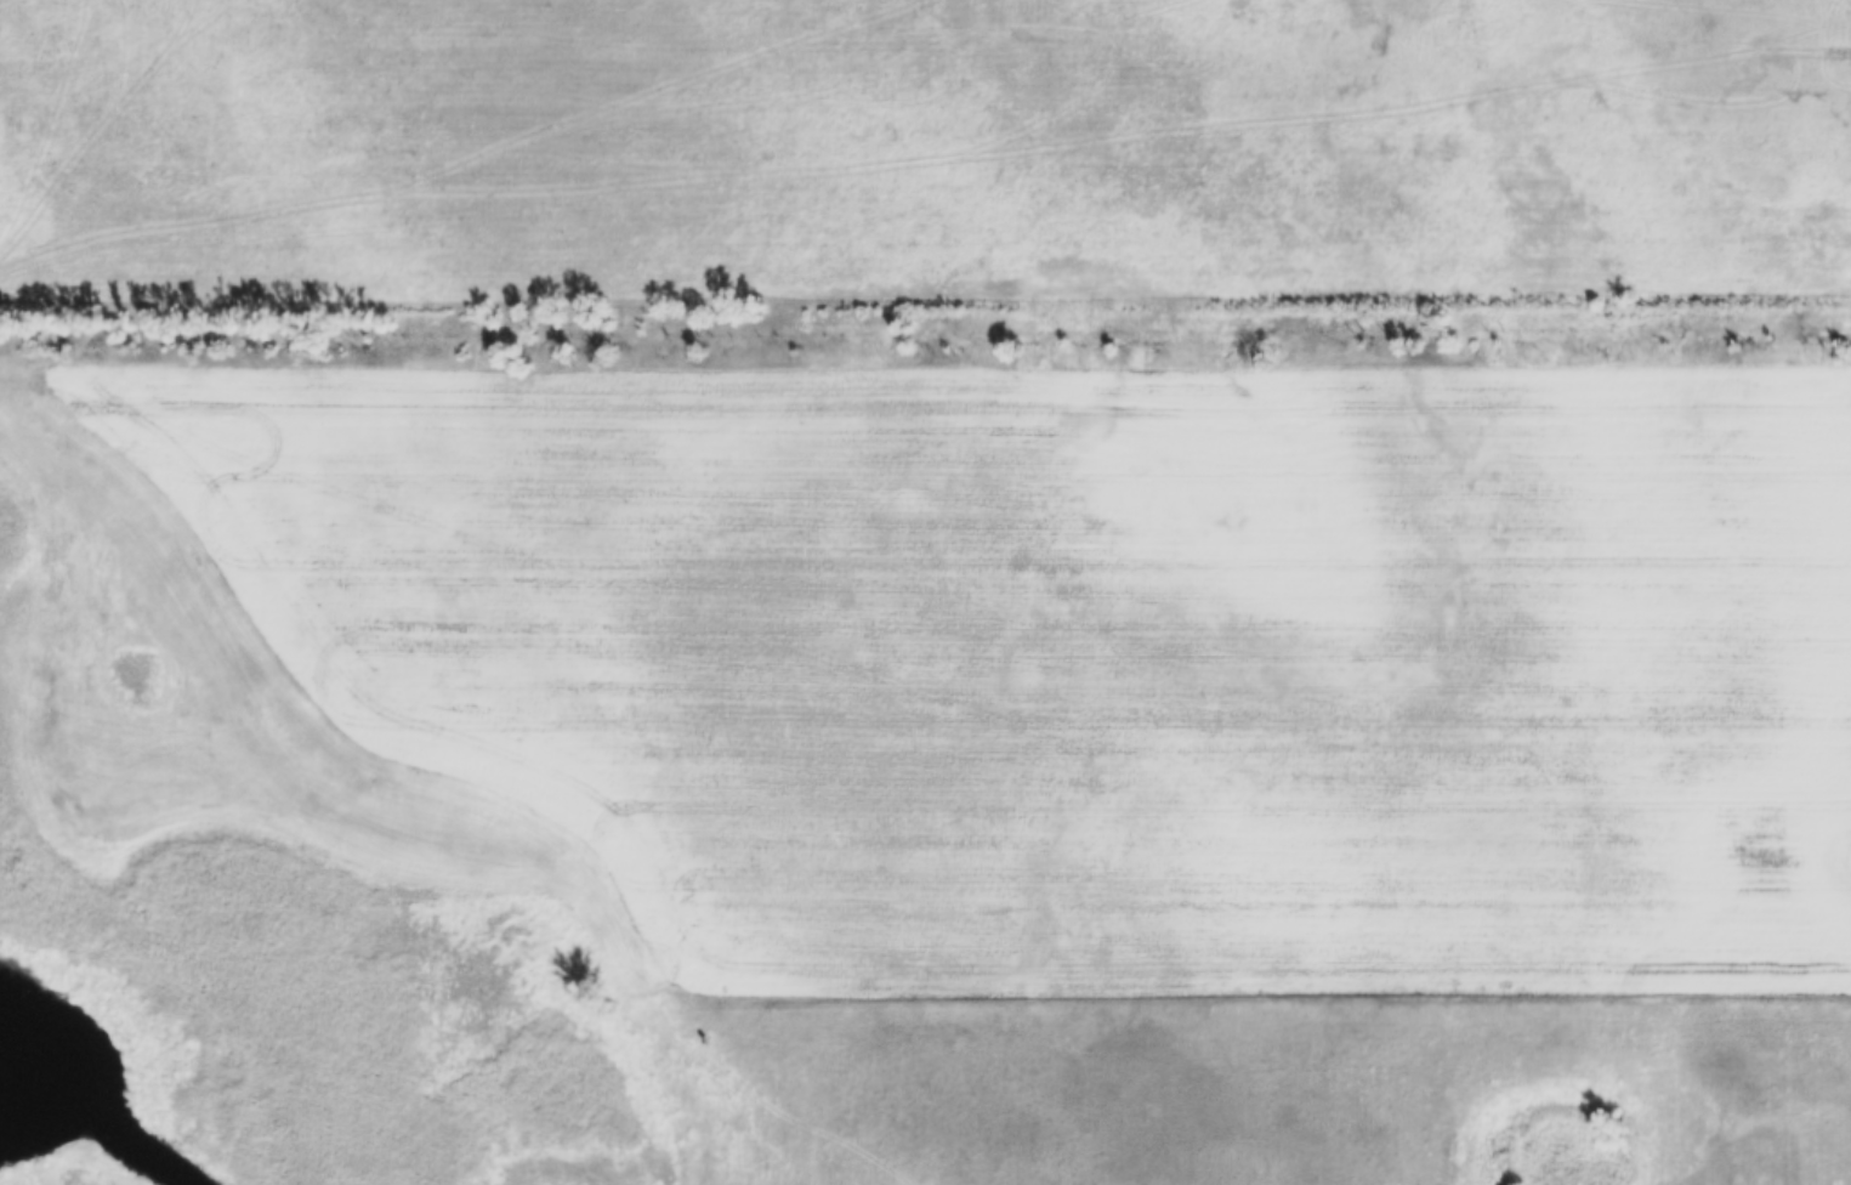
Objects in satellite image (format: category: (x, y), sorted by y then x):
river: (107, 1122)

